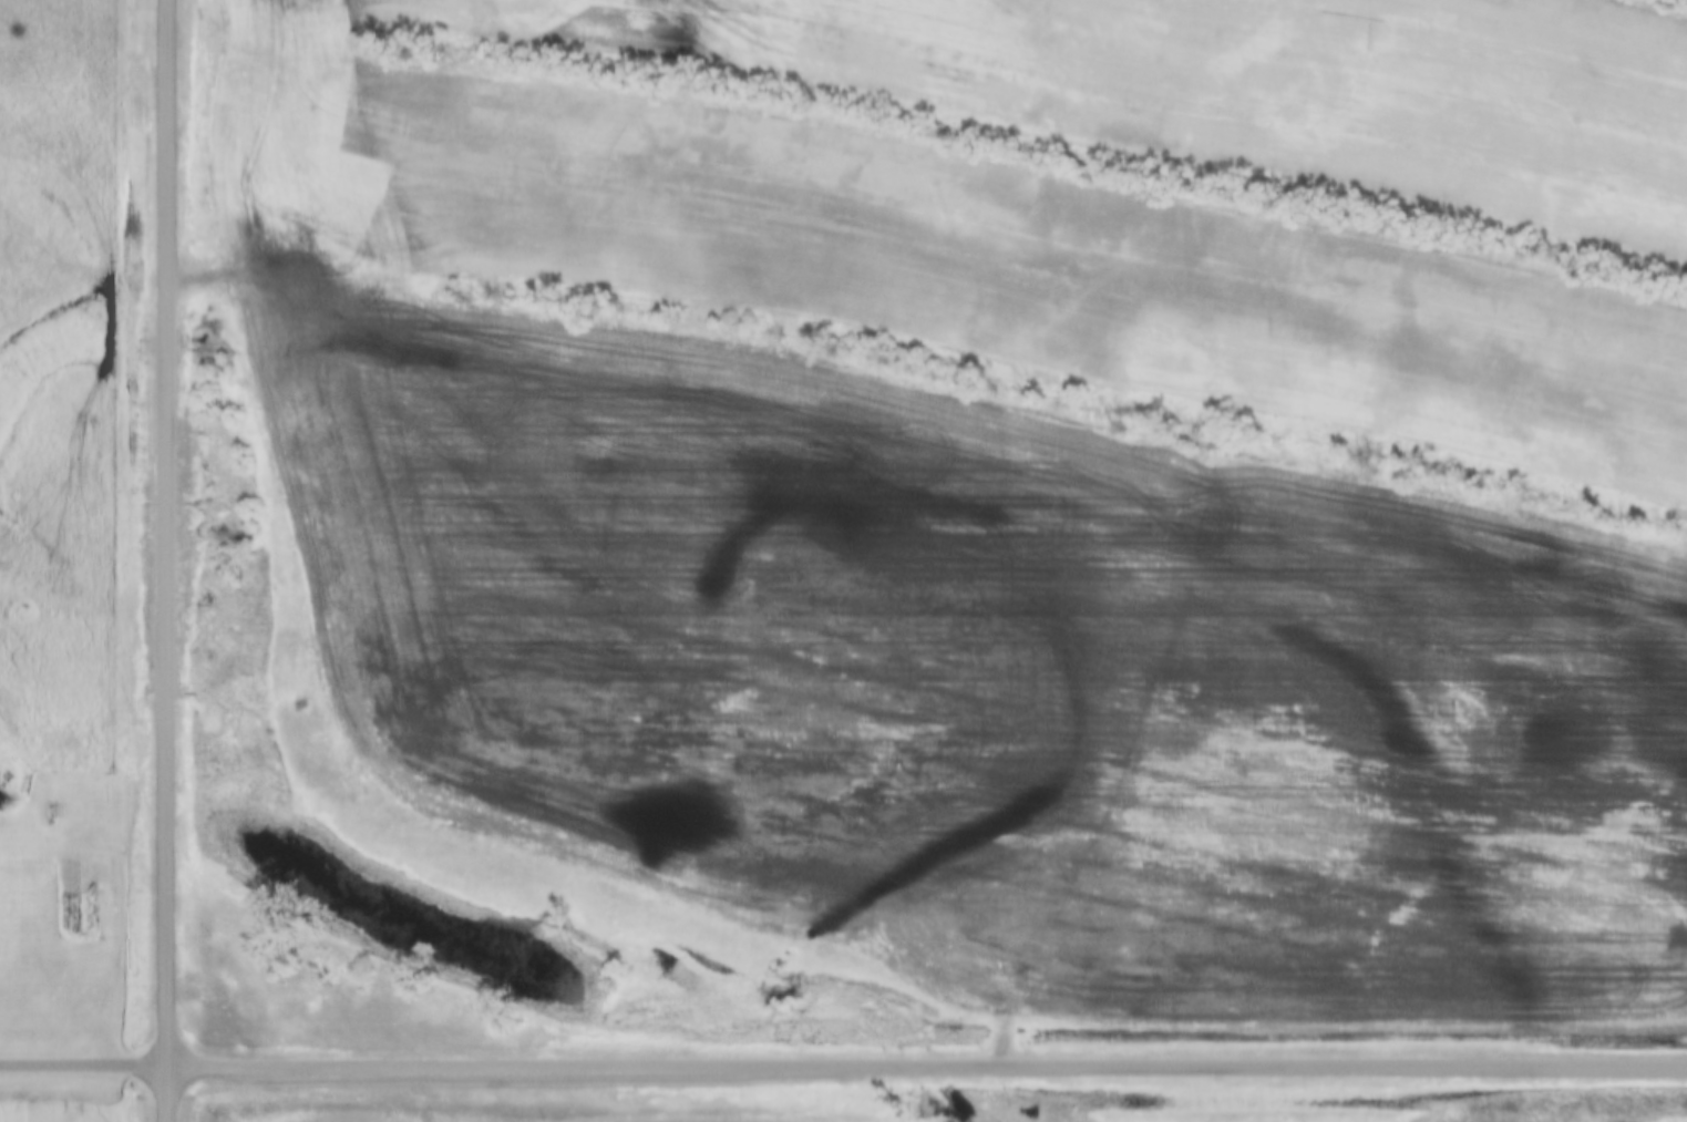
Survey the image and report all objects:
road: (172, 560)
building: (6, 783)
road: (928, 1056)
road: (85, 1057)

